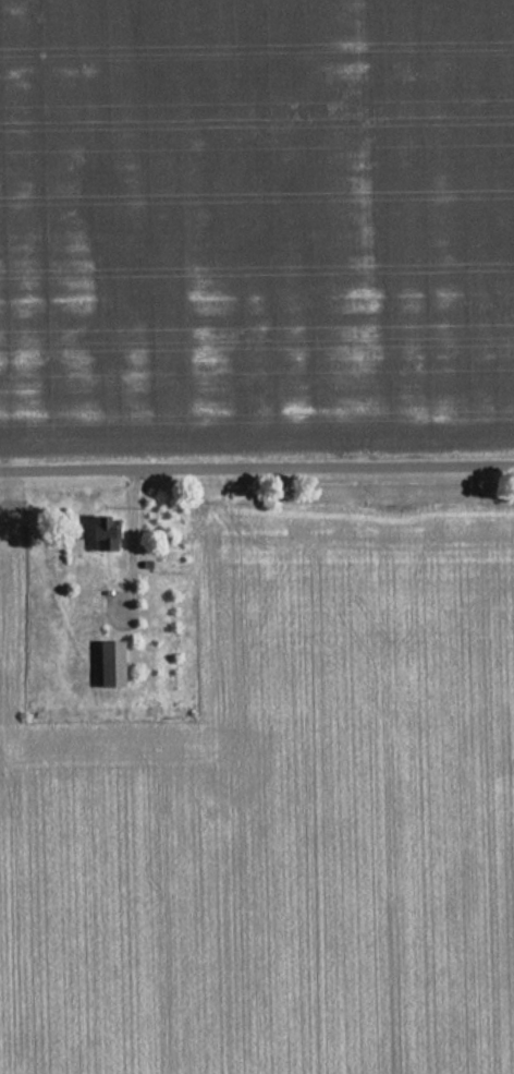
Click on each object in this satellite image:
crop: (256, 228)
road: (257, 468)
building: (114, 664)
crop: (280, 814)

